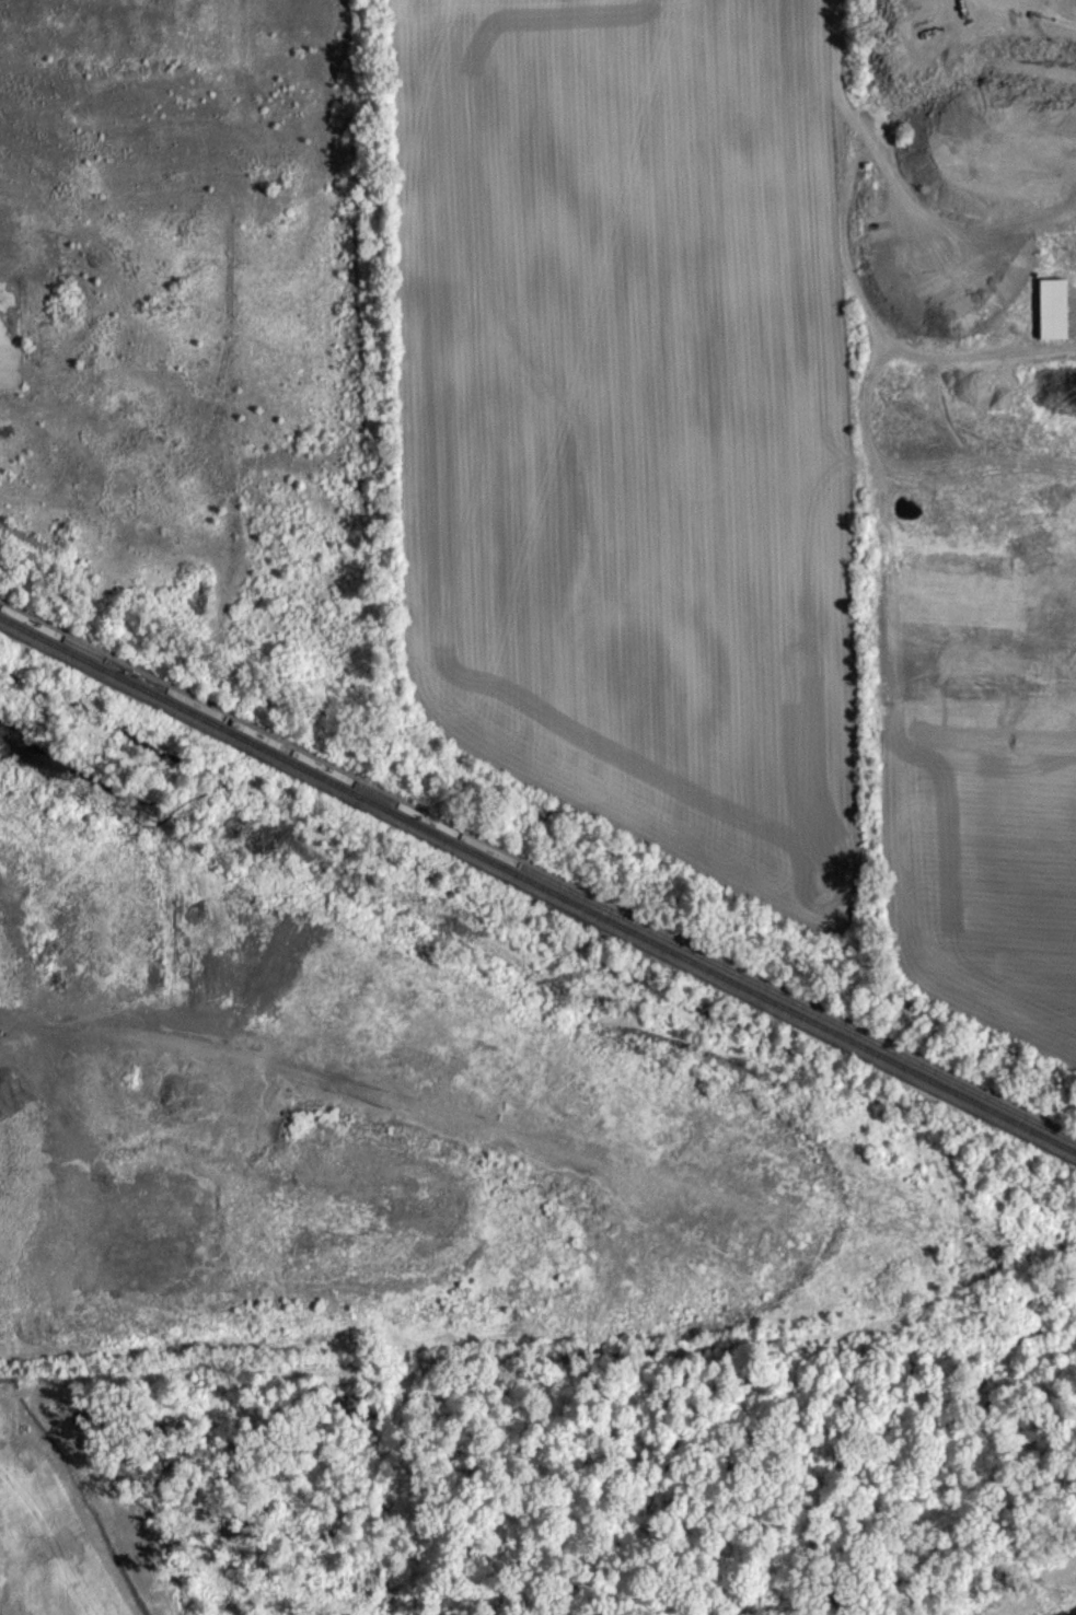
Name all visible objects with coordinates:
building: (1055, 319)
railway: (26, 537)
railway: (537, 872)
railway: (537, 882)

